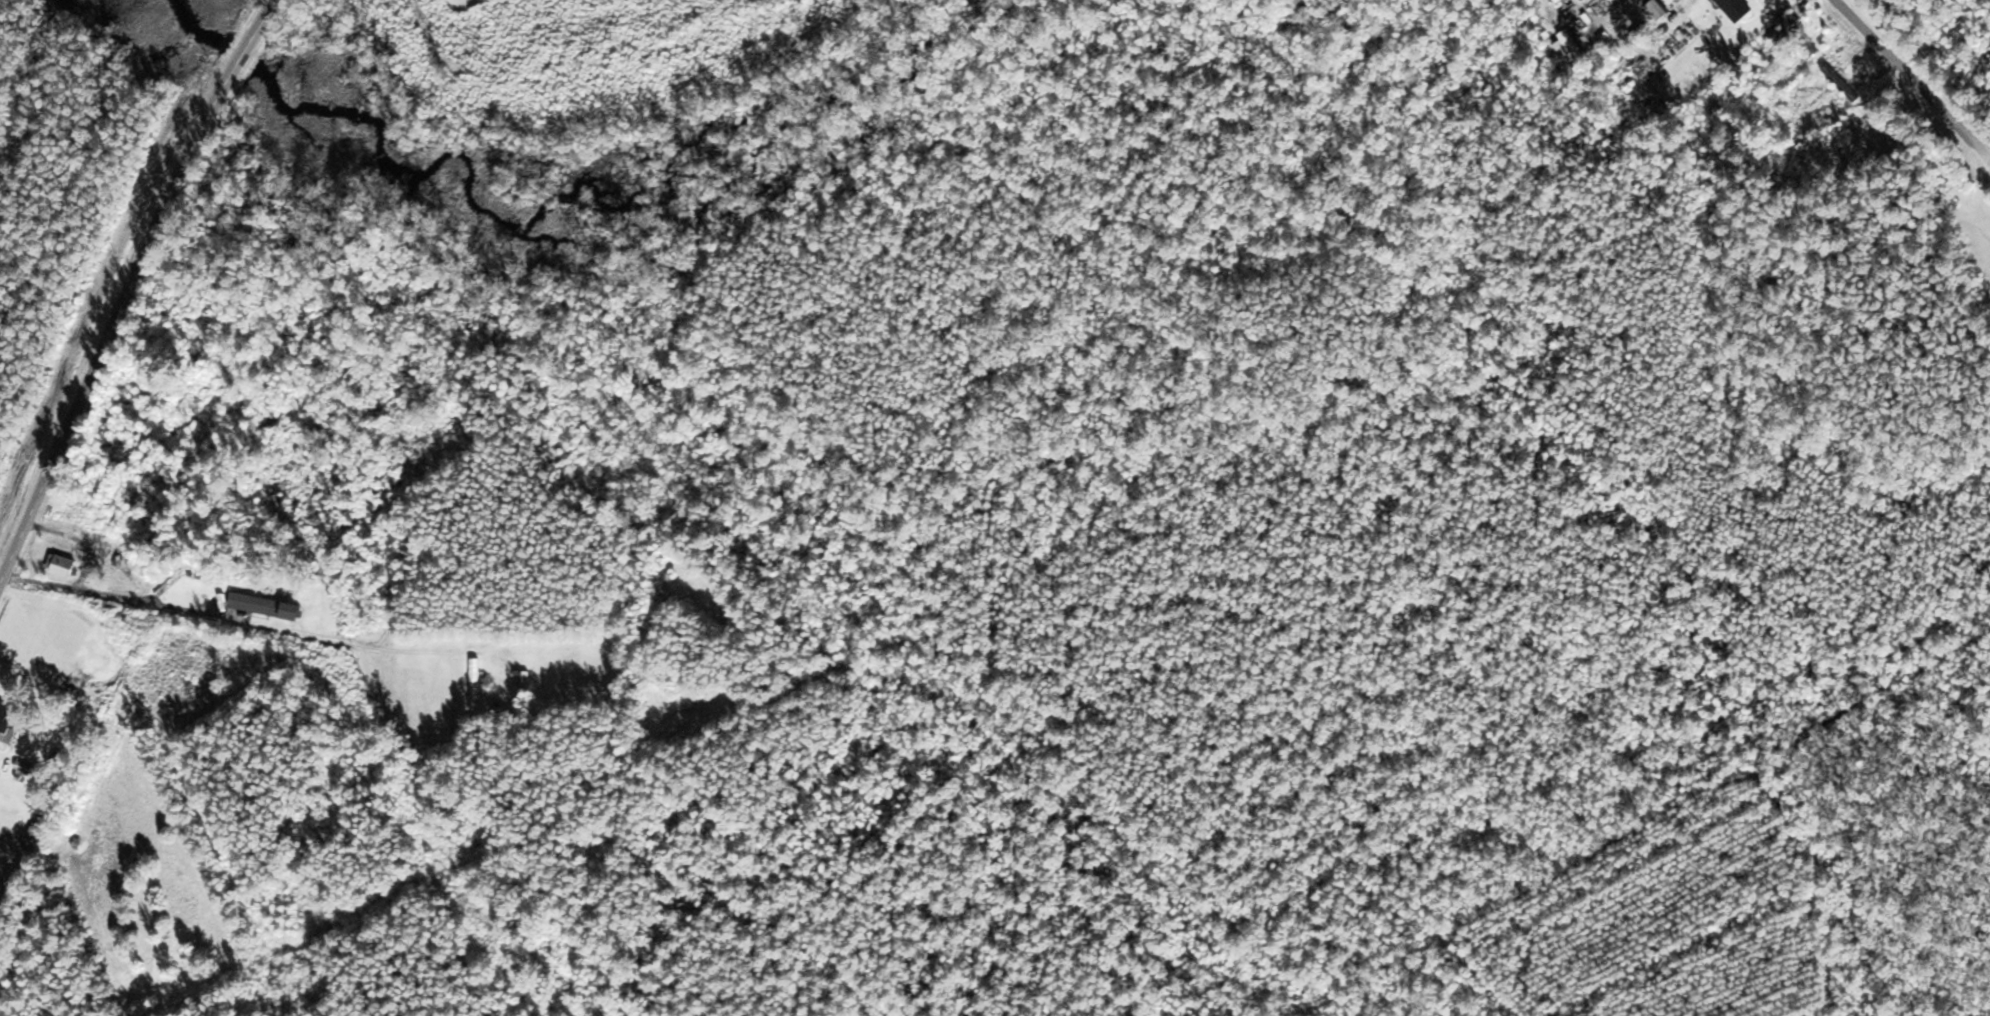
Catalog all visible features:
building: (1739, 9)
building: (1660, 10)
building: (1790, 32)
building: (1572, 46)
road: (1915, 78)
building: (1843, 84)
road: (131, 288)
building: (64, 566)
building: (269, 606)
road: (207, 613)
building: (478, 680)
building: (7, 718)
building: (0, 770)
building: (40, 831)

